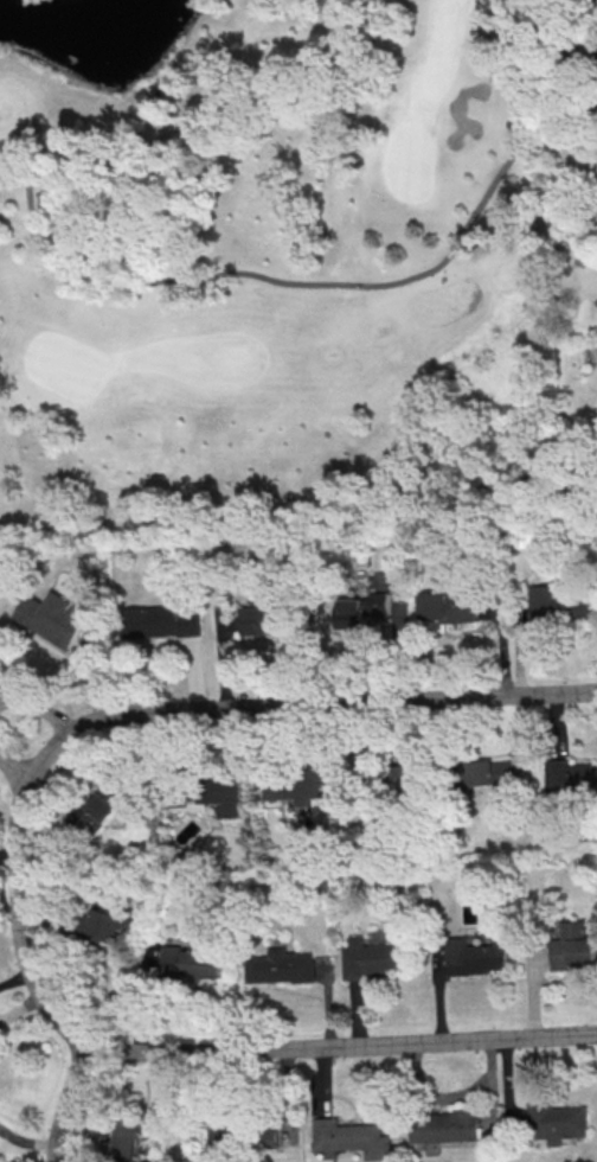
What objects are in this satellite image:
building: (148, 98)
park: (272, 264)
road: (317, 283)
building: (560, 605)
building: (450, 607)
building: (367, 611)
building: (56, 617)
building: (265, 619)
building: (163, 621)
road: (39, 707)
road: (158, 714)
road: (13, 766)
building: (490, 772)
building: (407, 778)
building: (571, 778)
building: (296, 785)
building: (226, 793)
building: (103, 809)
building: (109, 925)
building: (573, 946)
building: (477, 956)
building: (371, 958)
building: (191, 963)
building: (278, 965)
building: (142, 1034)
road: (341, 1045)
road: (452, 1093)
road: (65, 1100)
building: (560, 1122)
building: (449, 1125)
building: (135, 1136)
building: (354, 1137)
building: (222, 1138)

